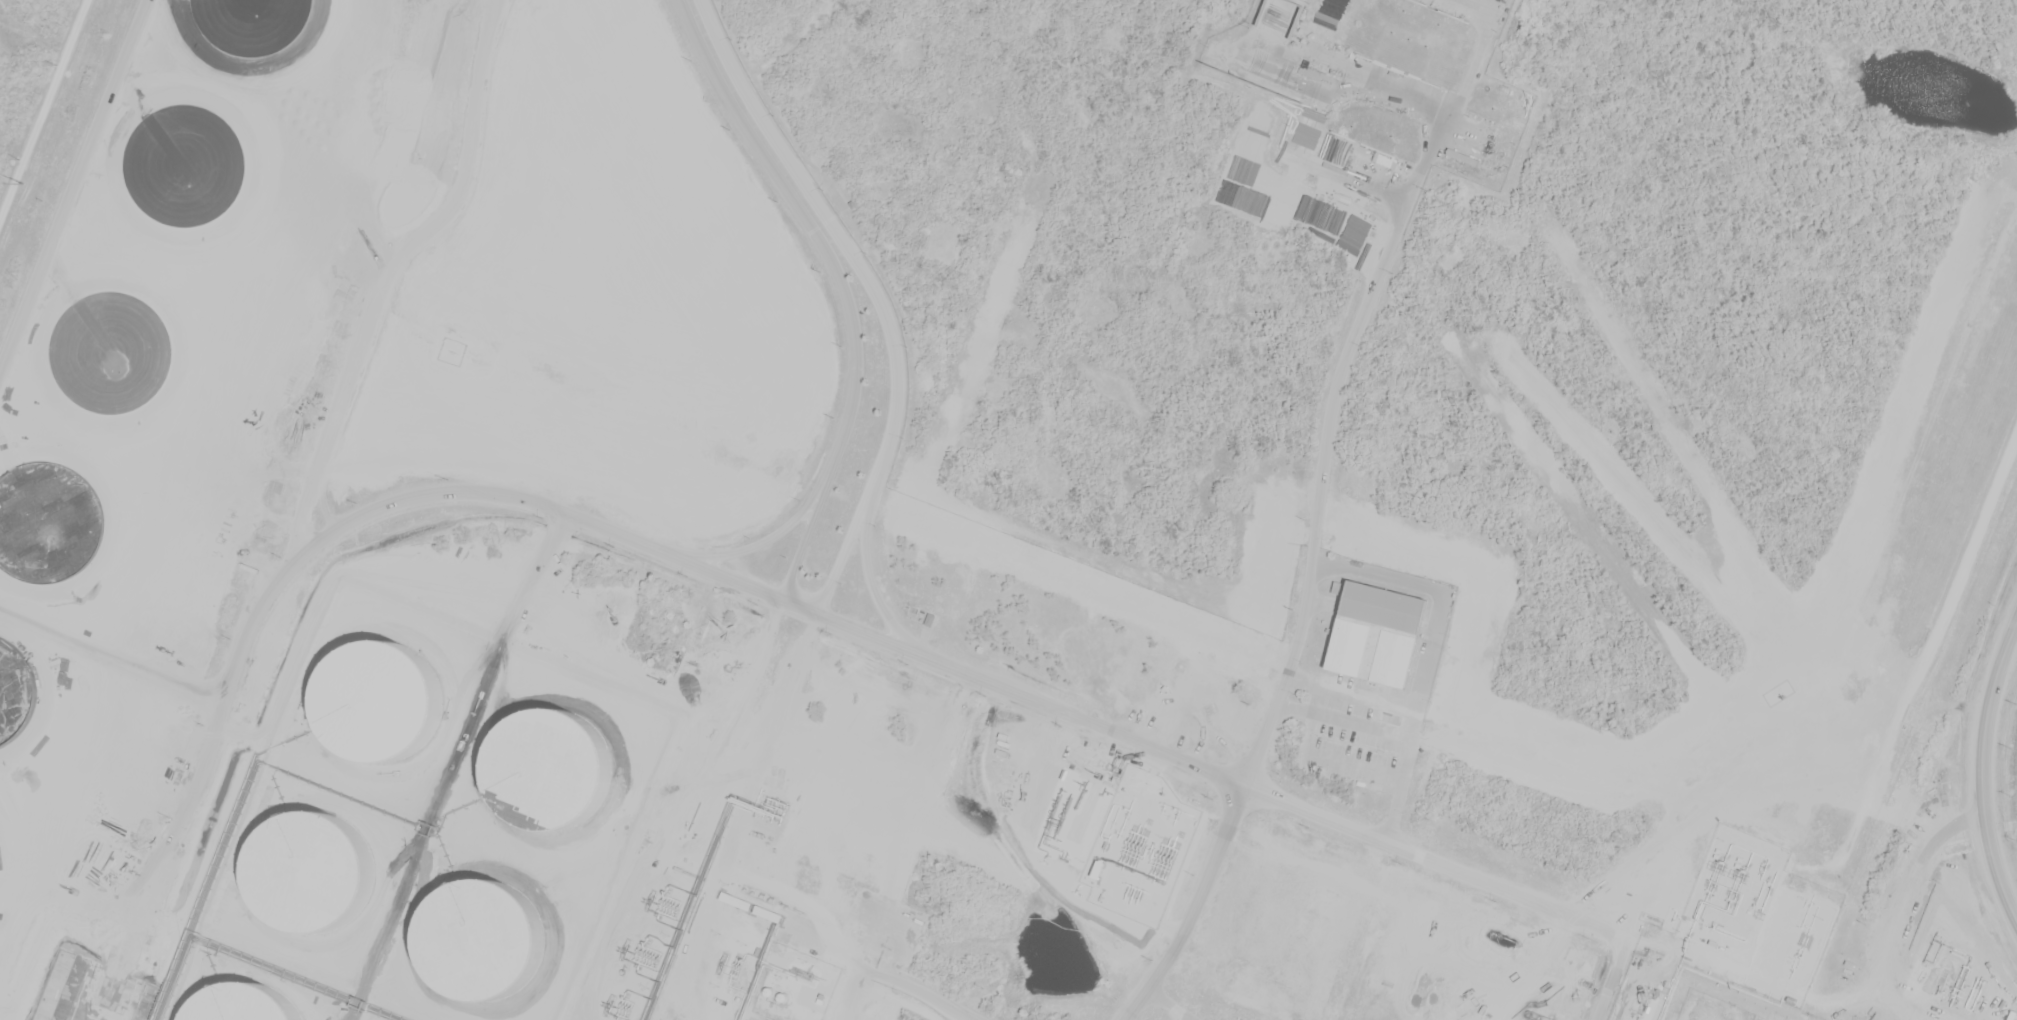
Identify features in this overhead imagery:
building: (1415, 37)
road: (45, 116)
road: (296, 561)
building: (451, 569)
building: (517, 573)
building: (399, 589)
road: (809, 600)
building: (608, 618)
building: (930, 619)
road: (1302, 619)
building: (468, 624)
building: (1379, 631)
building: (558, 640)
building: (394, 653)
building: (1206, 690)
storage tank: (1206, 690)
building: (697, 693)
building: (582, 699)
building: (366, 702)
building: (533, 731)
building: (458, 734)
road: (1212, 769)
road: (1979, 775)
building: (676, 800)
building: (824, 892)
building: (737, 901)
road: (1904, 907)
building: (769, 914)
building: (1734, 919)
building: (1283, 930)
building: (576, 931)
building: (745, 976)
road: (1609, 979)
building: (1791, 1001)

